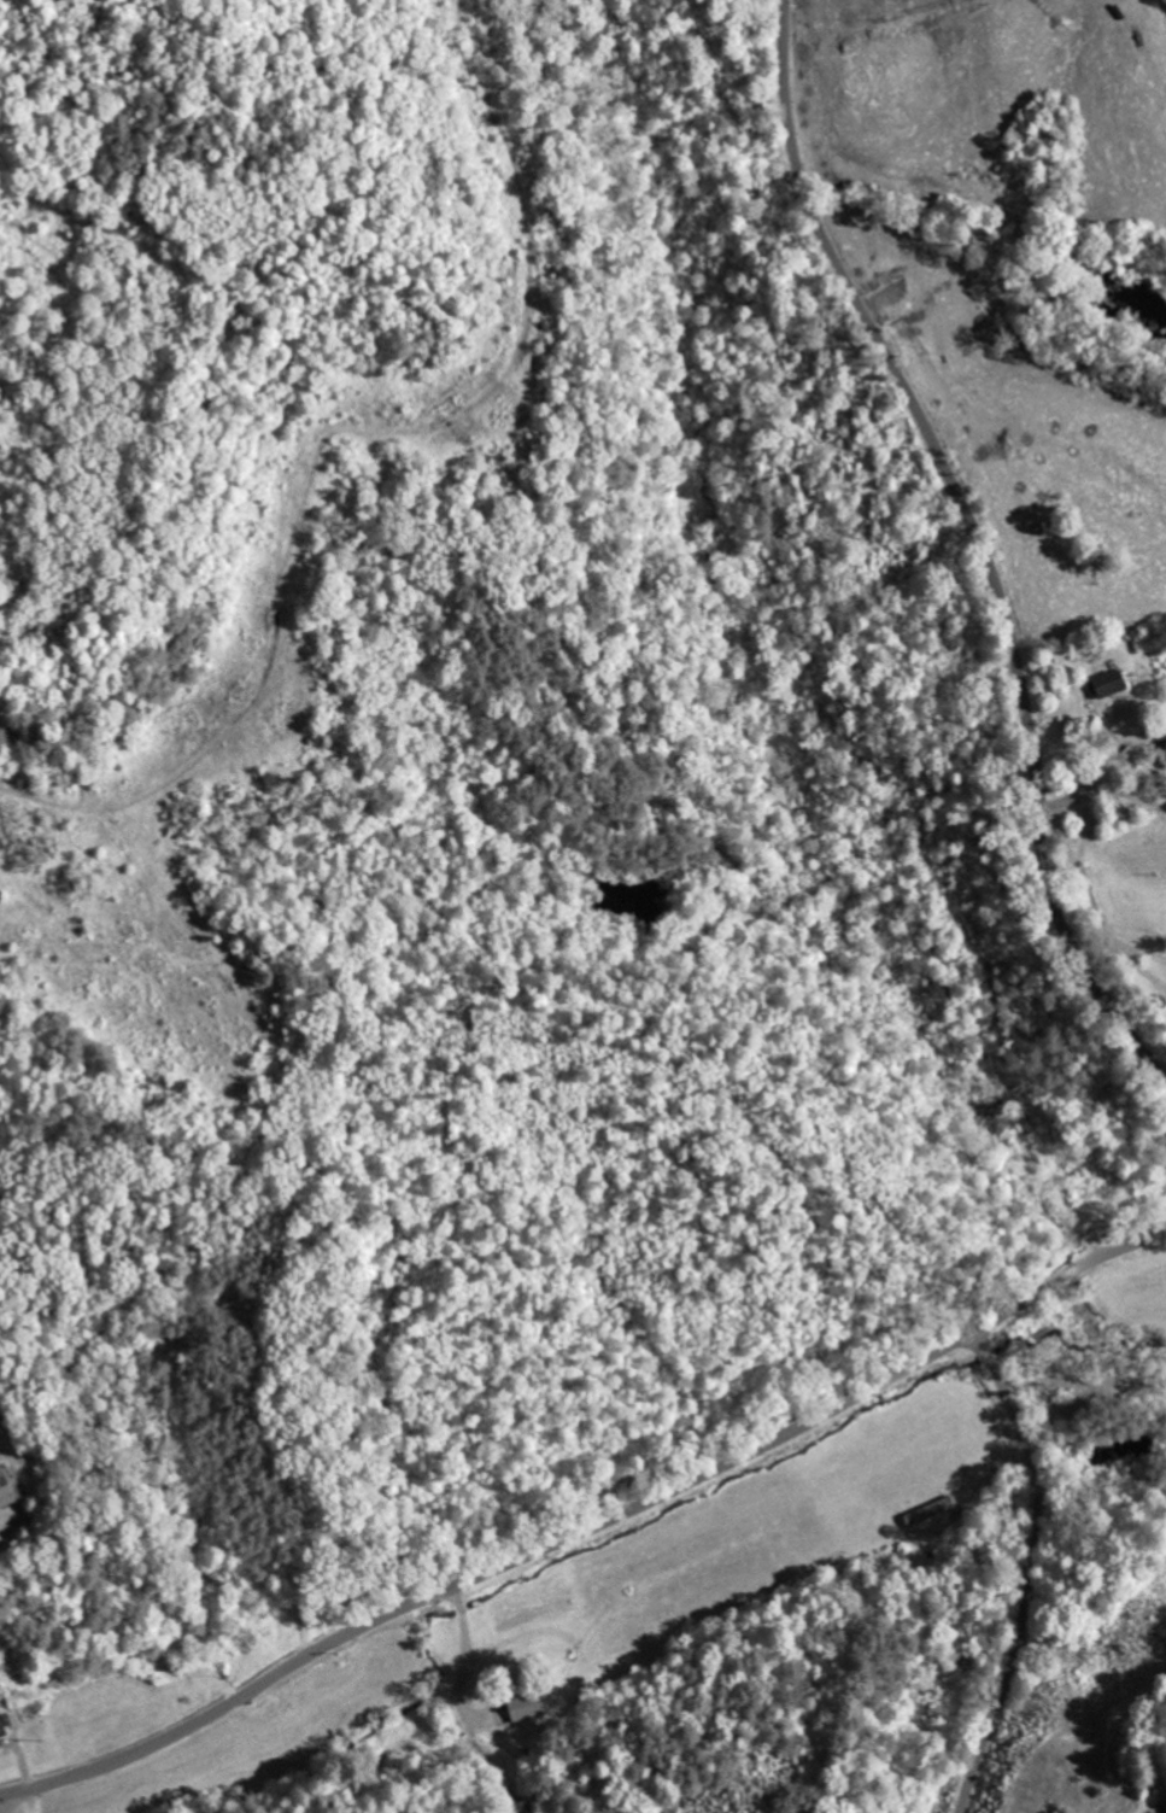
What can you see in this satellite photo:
road: (978, 536)
building: (1105, 683)
building: (4, 1492)
road: (588, 1528)
road: (1032, 1569)
power tower: (1132, 1644)
building: (522, 1707)
building: (1, 1729)

